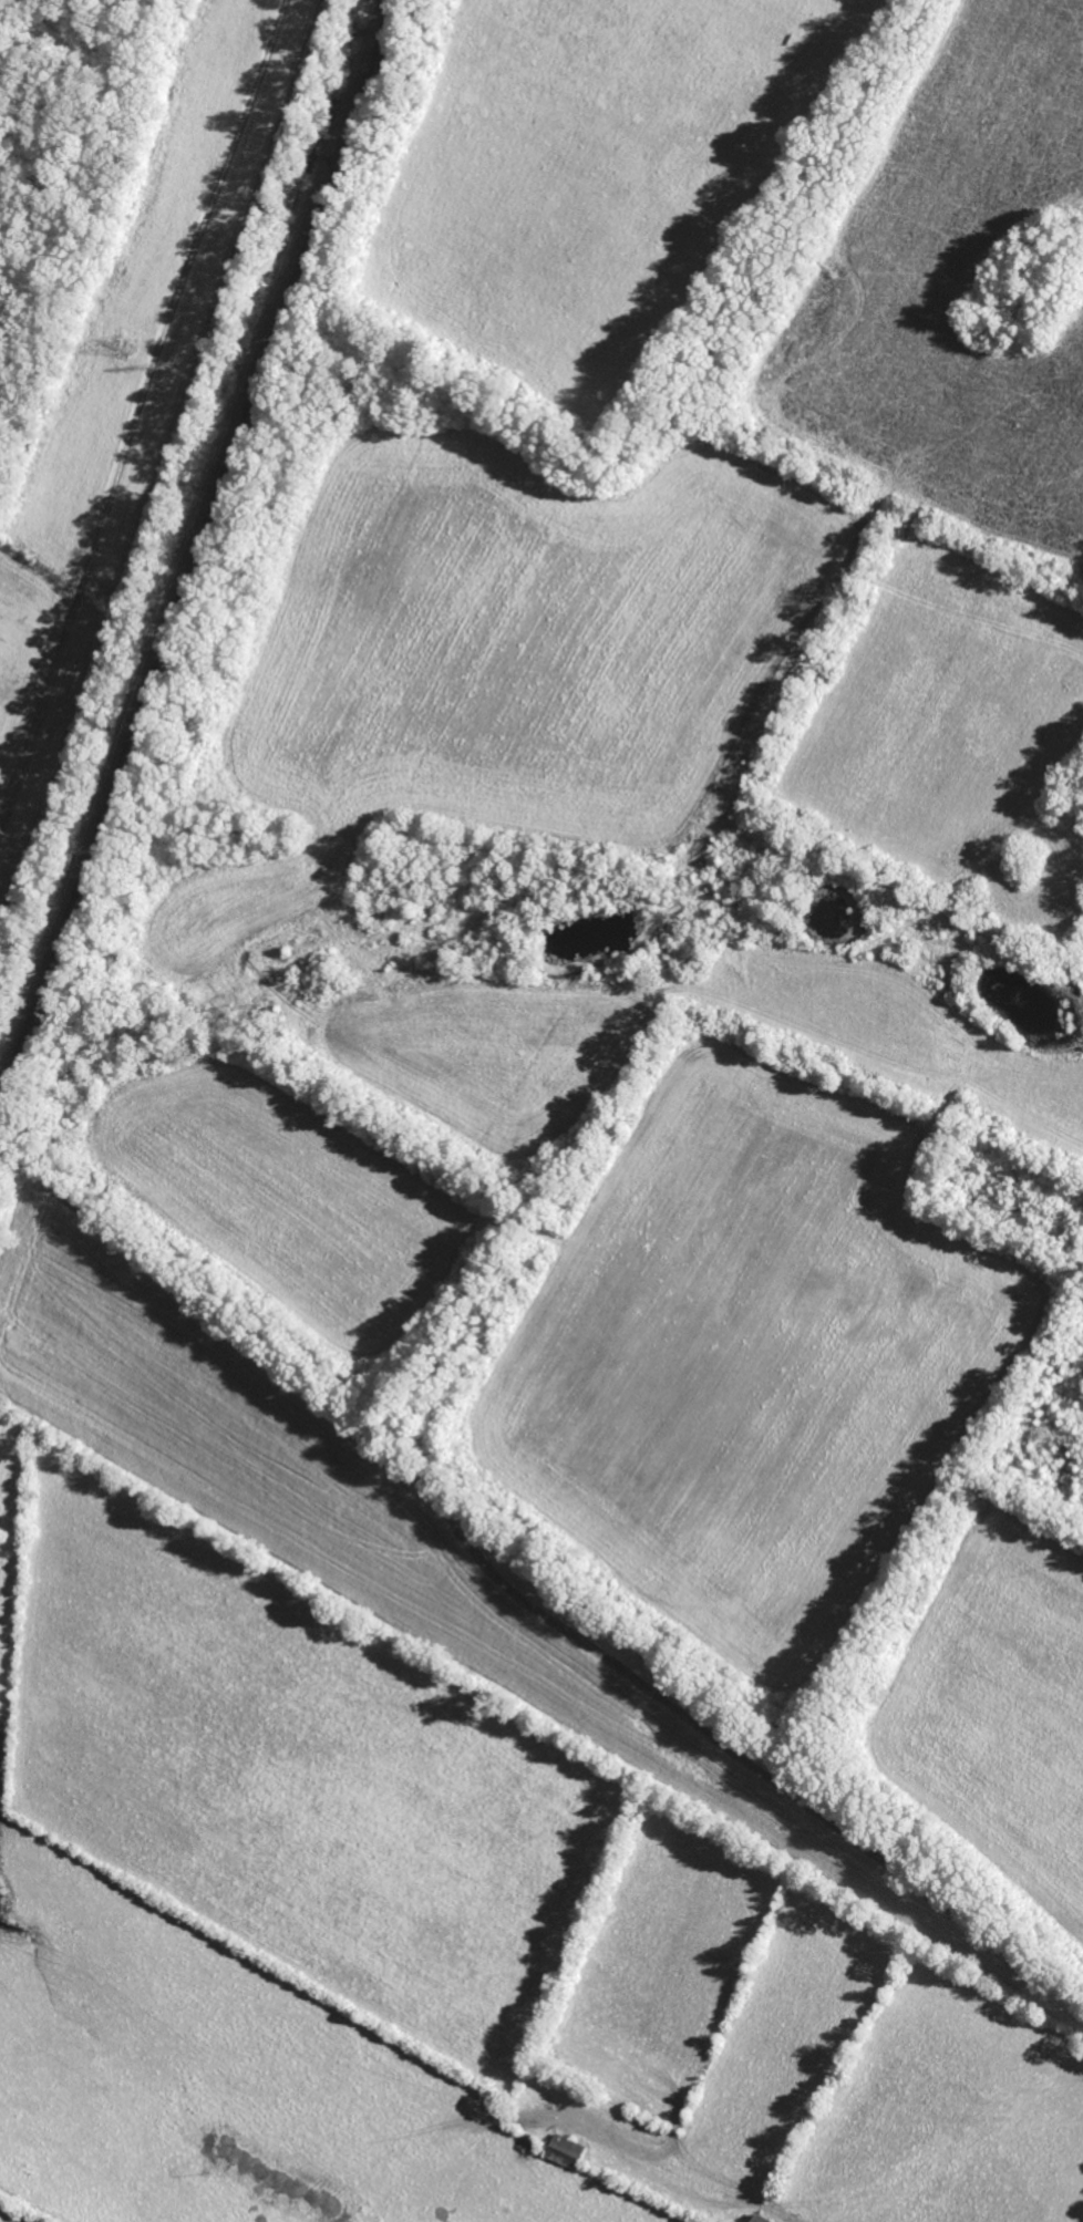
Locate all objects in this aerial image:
power tower: (125, 347)
power tower: (174, 369)
railway: (195, 551)
road: (519, 1609)
building: (565, 2151)
building: (760, 2219)

